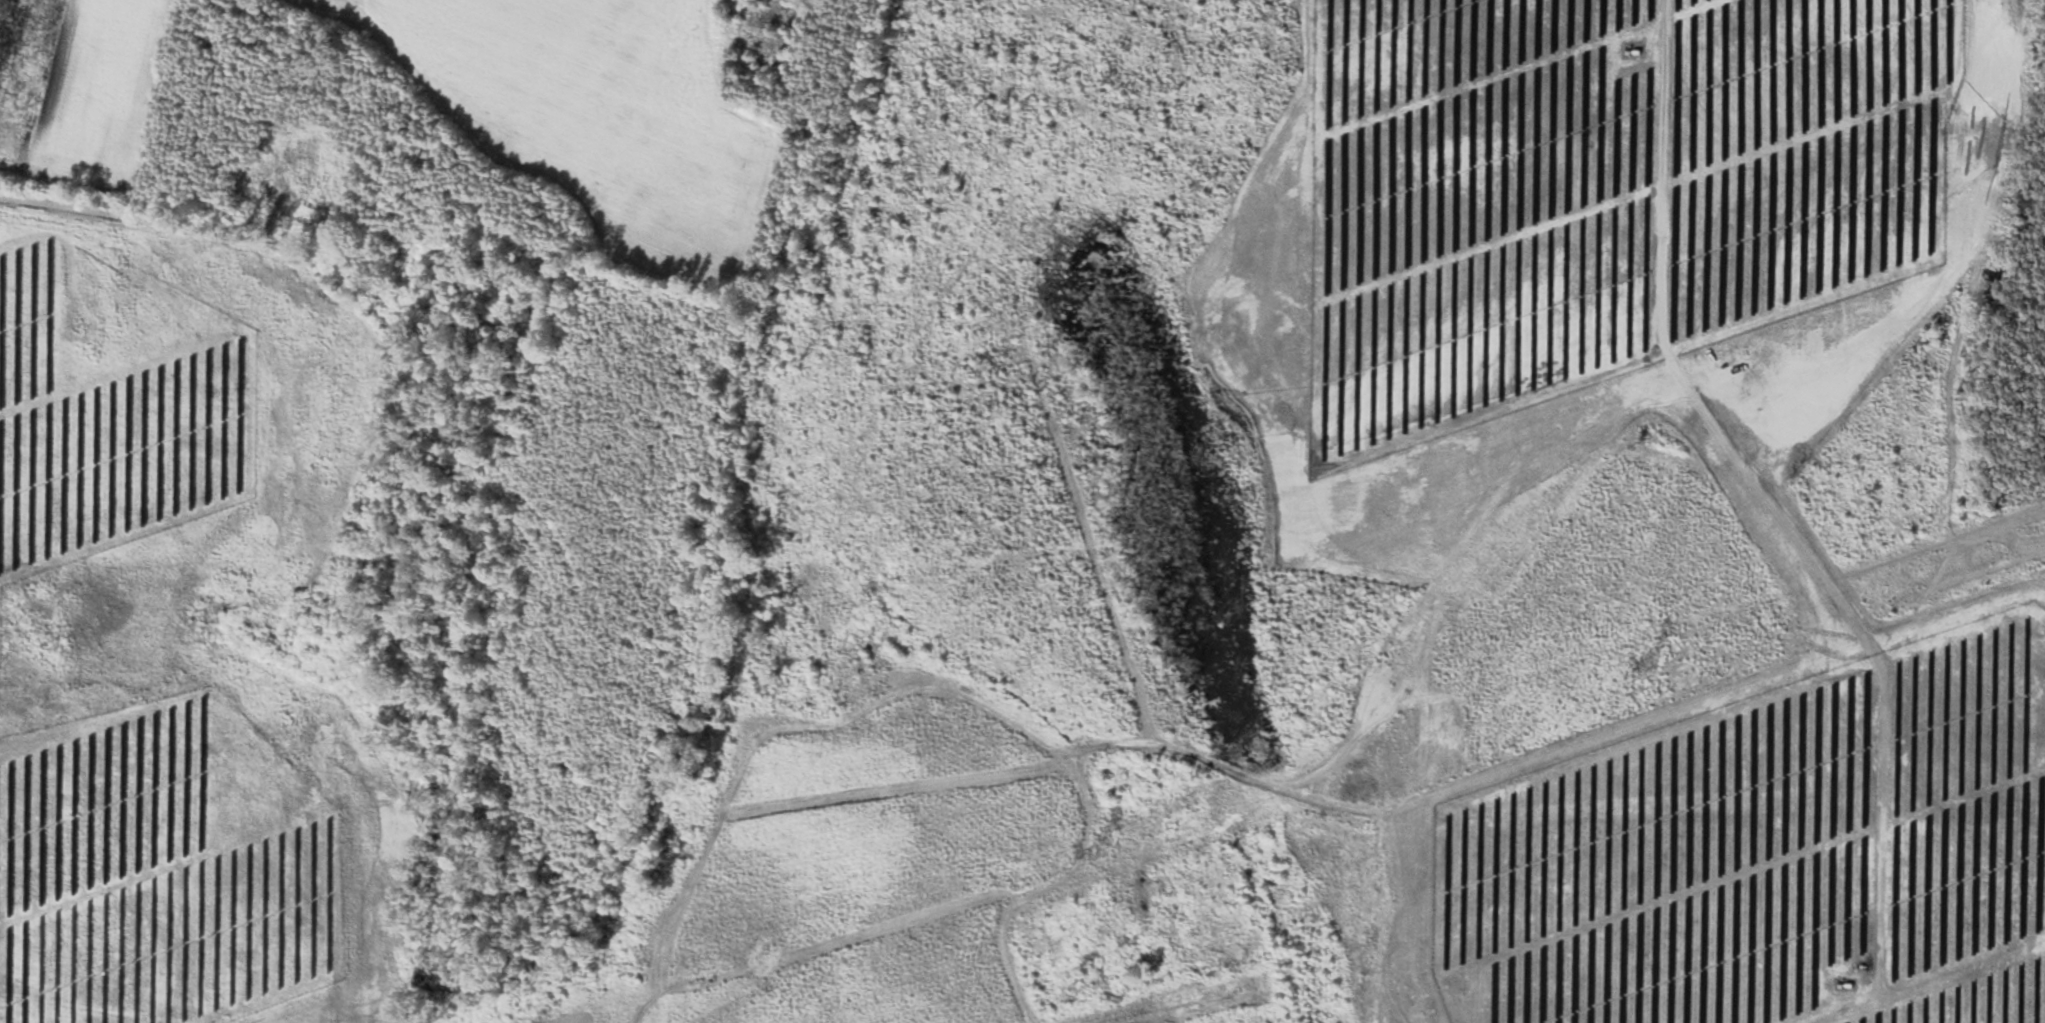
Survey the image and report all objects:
road: (312, 2)

